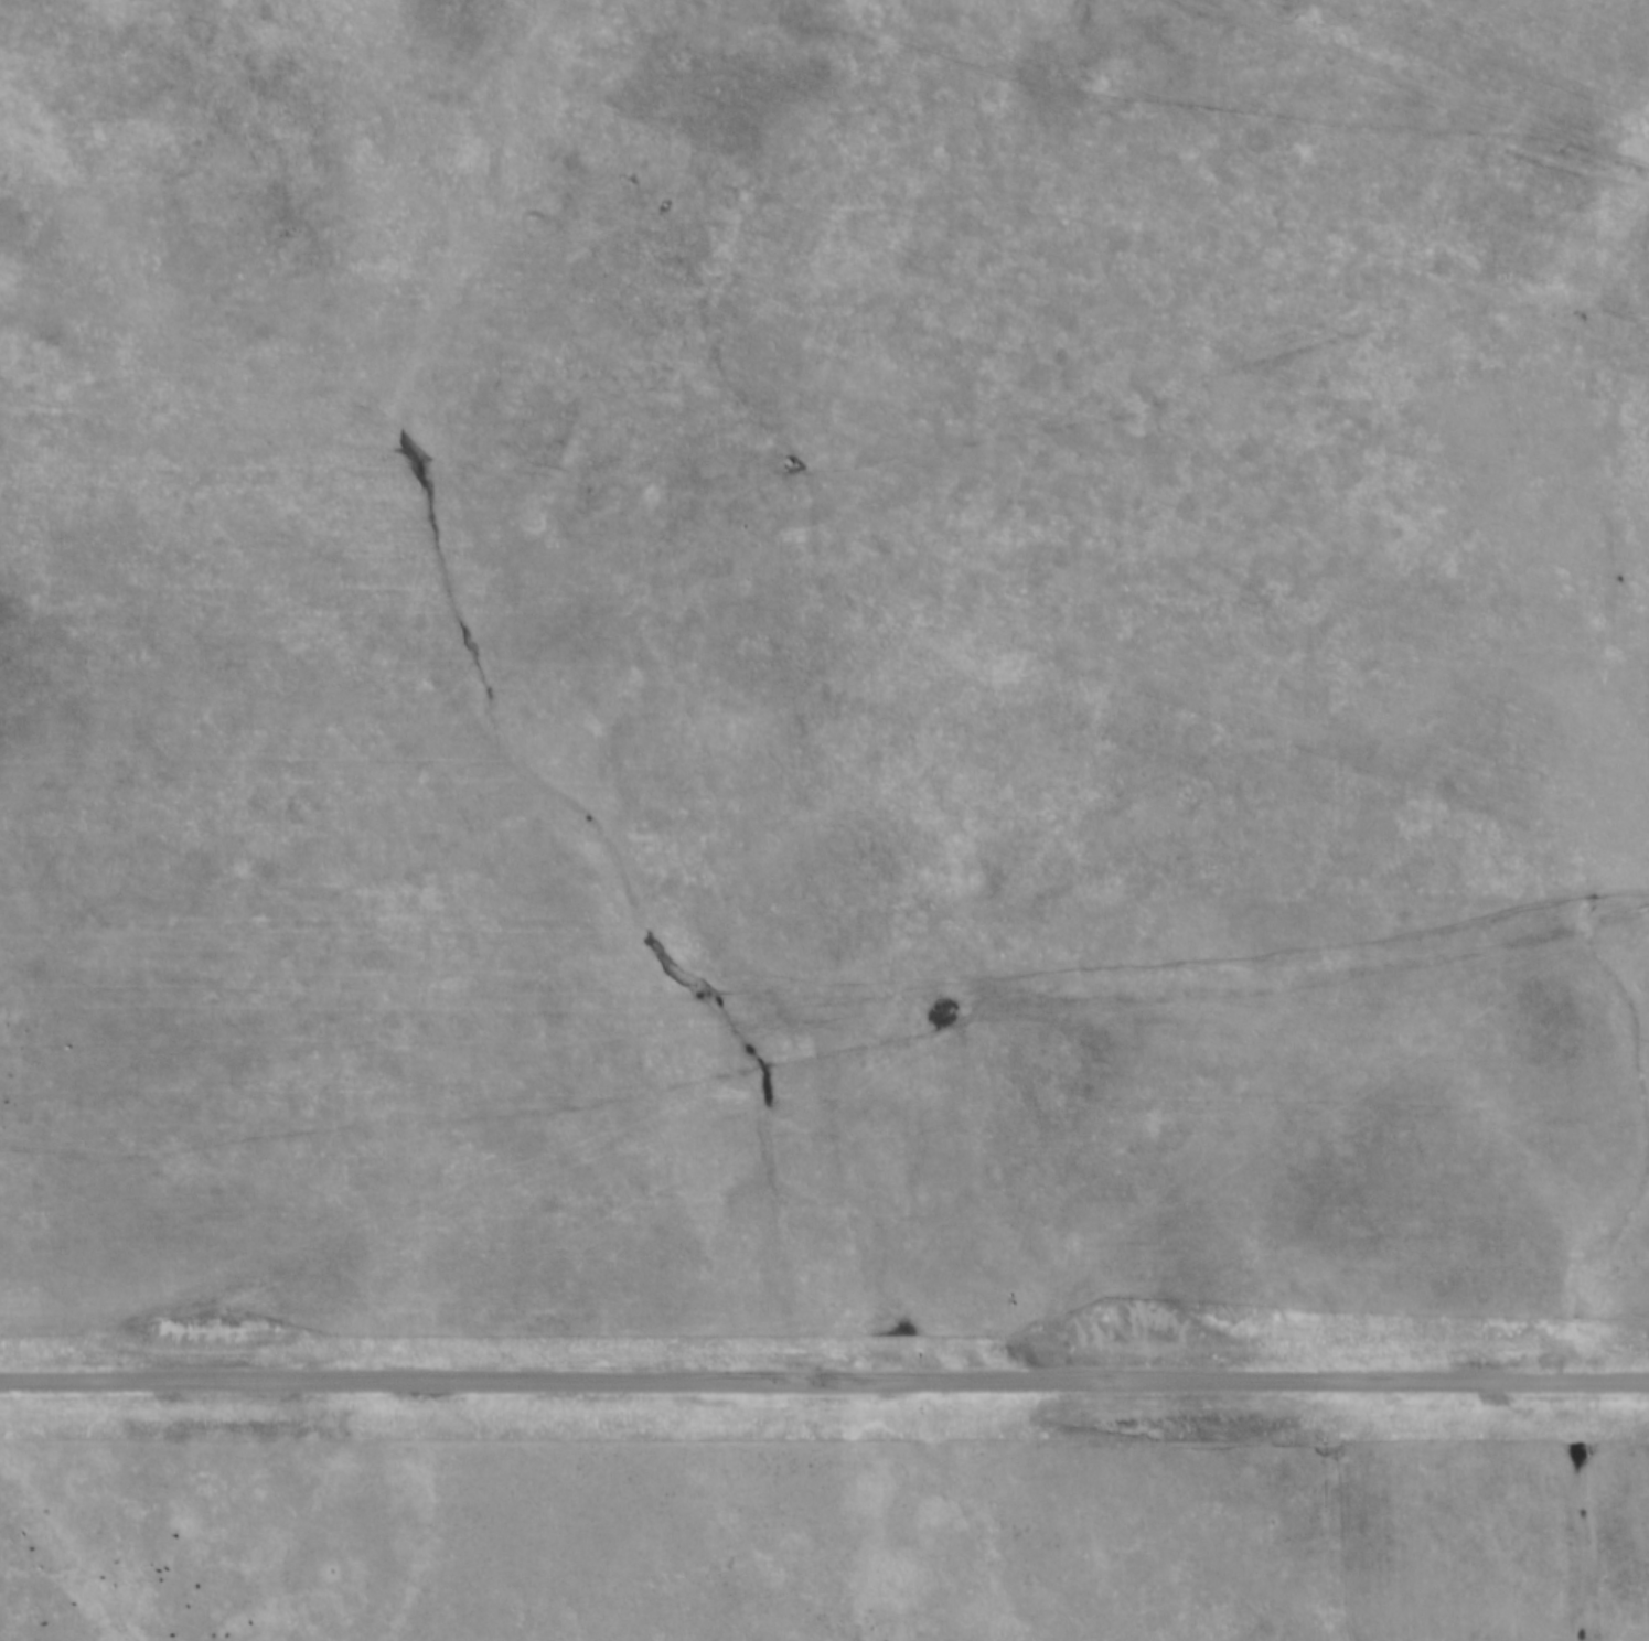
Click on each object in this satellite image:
road: (824, 1380)

